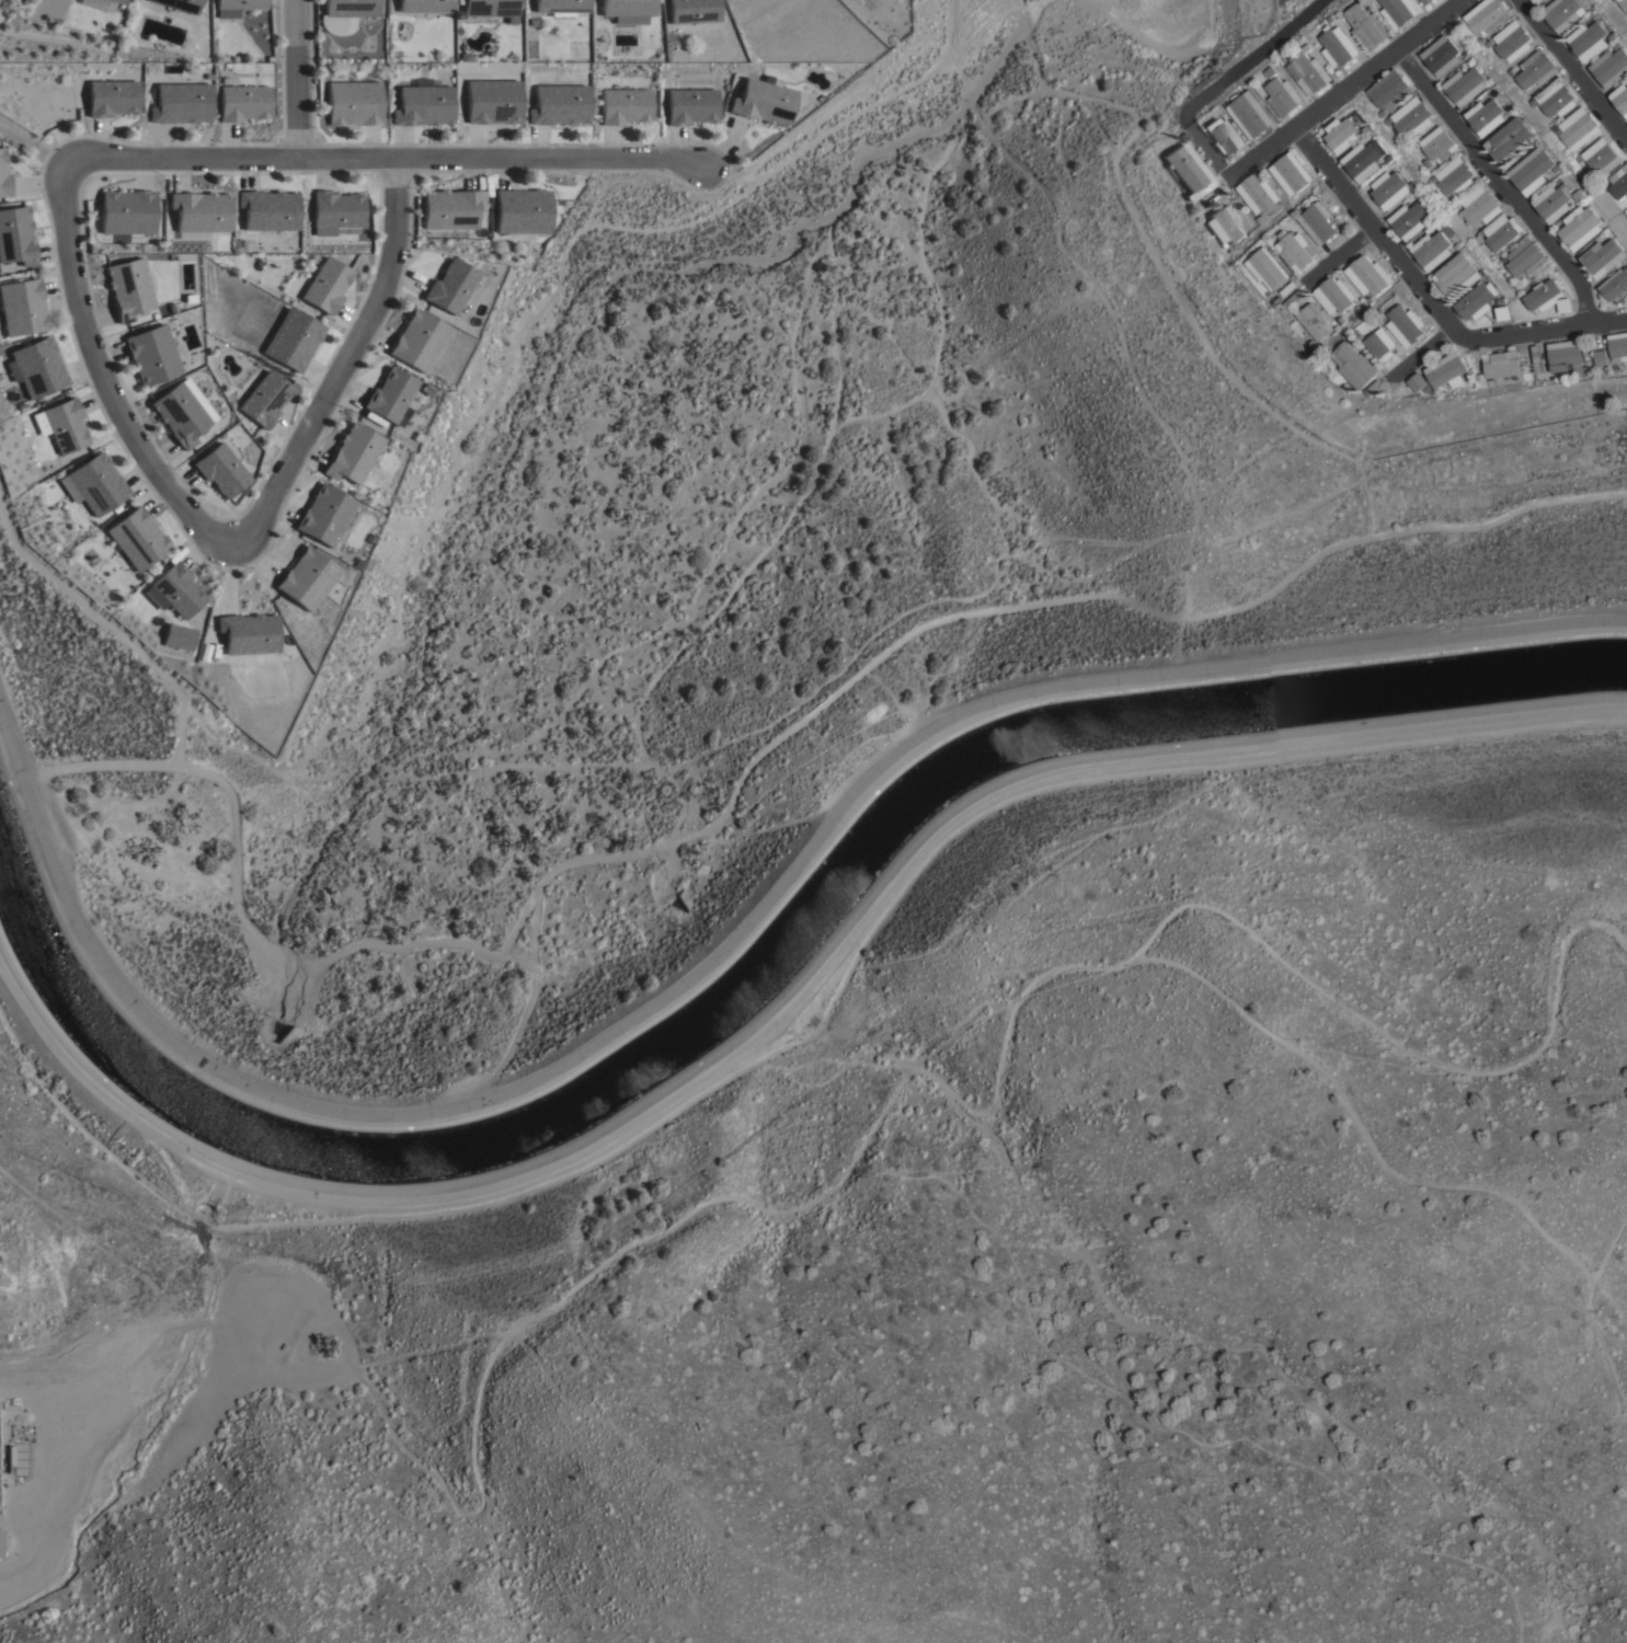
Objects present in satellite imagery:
building: (119, 0)
building: (1533, 0)
building: (1538, 1)
building: (1427, 2)
building: (238, 3)
building: (1624, 3)
building: (423, 4)
building: (176, 5)
building: (560, 5)
building: (488, 7)
building: (627, 9)
building: (691, 10)
building: (1400, 10)
building: (1562, 12)
building: (343, 13)
building: (1486, 14)
building: (1330, 16)
building: (1367, 25)
building: (1614, 34)
building: (1589, 38)
building: (1511, 39)
building: (1618, 43)
building: (1338, 45)
building: (1441, 54)
building: (1611, 65)
building: (1519, 67)
building: (1536, 68)
building: (1308, 69)
building: (1270, 70)
road: (1572, 70)
road: (295, 78)
building: (1466, 84)
building: (1390, 89)
road: (1343, 92)
building: (1282, 94)
building: (112, 96)
building: (1555, 97)
building: (1620, 97)
building: (491, 100)
building: (241, 101)
building: (763, 101)
building: (179, 102)
building: (352, 102)
building: (558, 103)
building: (422, 104)
building: (623, 104)
building: (690, 104)
building: (1513, 107)
building: (1249, 113)
building: (1382, 113)
building: (1412, 115)
building: (1486, 115)
building: (1388, 120)
building: (1577, 126)
building: (1367, 128)
road: (35, 133)
building: (1343, 133)
building: (1224, 134)
building: (1511, 140)
building: (1437, 143)
building: (1413, 149)
road: (389, 157)
building: (1600, 157)
building: (1365, 159)
building: (1558, 166)
building: (1189, 168)
building: (1533, 169)
building: (1291, 172)
building: (3, 174)
building: (1456, 175)
building: (1433, 177)
building: (1618, 181)
building: (1414, 183)
road: (1500, 184)
building: (1391, 187)
building: (1258, 194)
building: (1581, 195)
building: (1554, 200)
building: (1196, 203)
building: (1481, 204)
building: (1456, 205)
building: (450, 207)
building: (267, 208)
building: (335, 208)
building: (127, 210)
building: (199, 210)
building: (519, 210)
building: (1626, 210)
building: (1412, 218)
building: (1261, 219)
building: (1225, 222)
building: (1317, 223)
building: (1581, 226)
building: (1502, 230)
building: (15, 234)
road: (1379, 235)
building: (1459, 244)
building: (1296, 249)
building: (1433, 249)
road: (1338, 256)
building: (1526, 256)
building: (1604, 256)
building: (1265, 267)
building: (1459, 274)
building: (1367, 275)
building: (324, 285)
building: (448, 285)
building: (1615, 286)
building: (127, 287)
building: (1333, 295)
building: (1546, 295)
building: (1478, 299)
building: (1566, 303)
building: (22, 306)
building: (1380, 311)
building: (1505, 312)
building: (1311, 320)
building: (1340, 320)
building: (1406, 324)
road: (1545, 331)
building: (1359, 335)
building: (291, 338)
building: (416, 340)
building: (1310, 343)
building: (1618, 345)
building: (1383, 347)
road: (1419, 353)
building: (150, 354)
building: (1567, 355)
road: (341, 356)
building: (1600, 357)
building: (1537, 361)
building: (1352, 364)
building: (1502, 364)
building: (37, 366)
building: (1446, 369)
road: (101, 374)
building: (1479, 380)
building: (1416, 381)
building: (1490, 382)
building: (1343, 388)
building: (1374, 389)
building: (388, 393)
building: (263, 398)
building: (177, 413)
building: (39, 422)
building: (65, 424)
building: (351, 452)
building: (219, 469)
building: (96, 482)
building: (324, 514)
building: (136, 537)
building: (306, 577)
building: (176, 588)
building: (248, 632)
building: (177, 636)
road: (731, 938)
road: (1190, 962)
road: (787, 1004)
building: (9, 1458)
building: (0, 1540)

